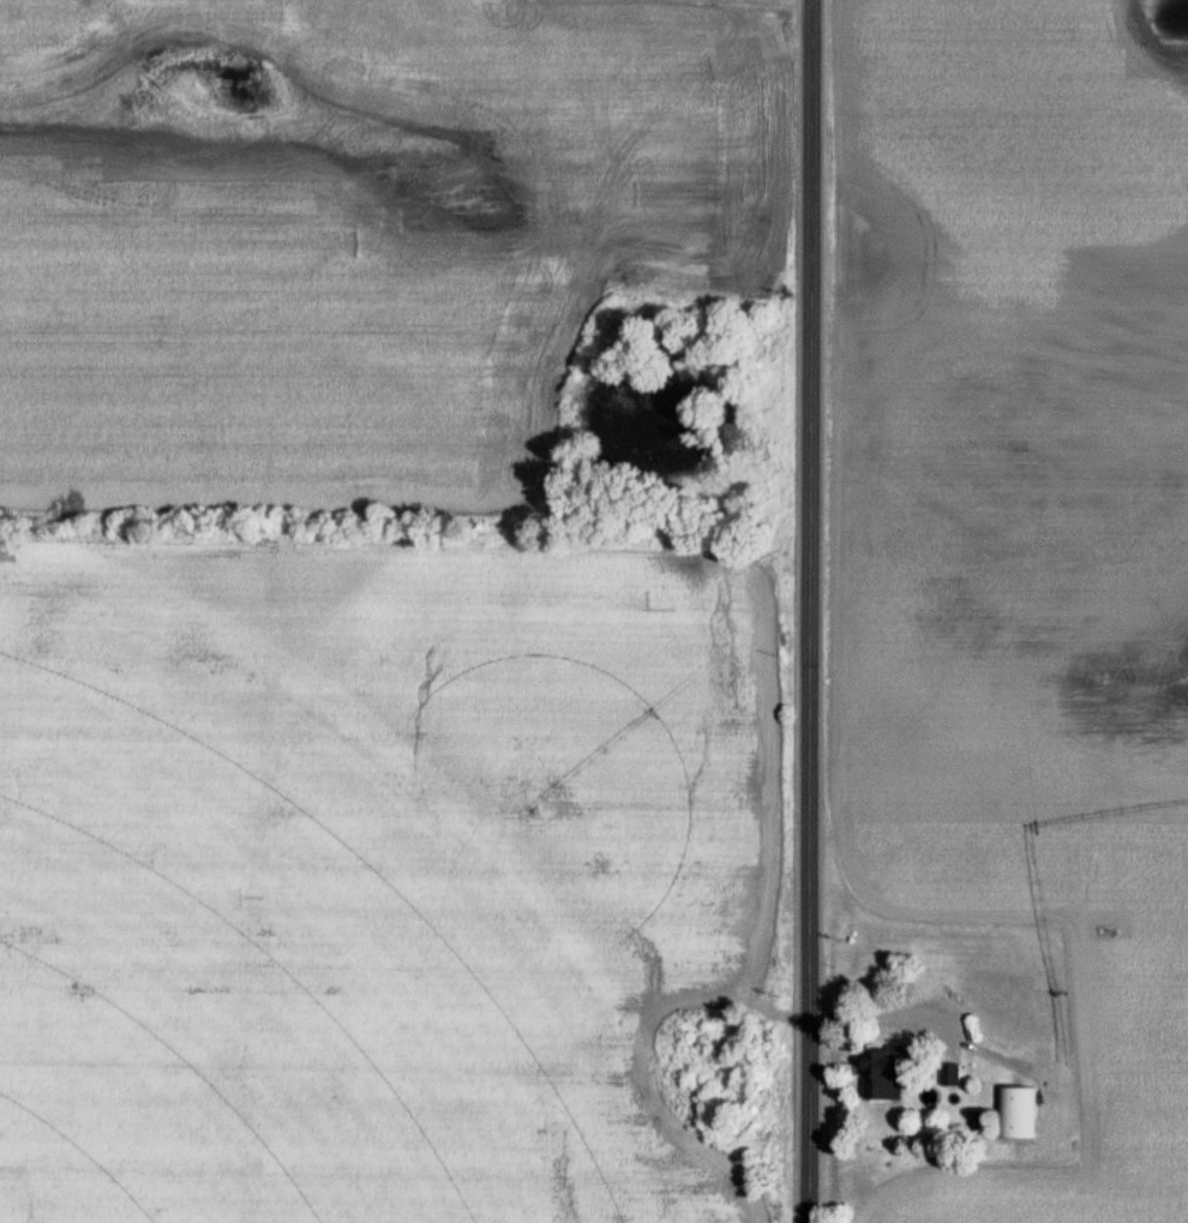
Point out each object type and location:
road: (809, 611)
road: (906, 1024)
building: (876, 1065)
building: (947, 1077)
building: (1013, 1113)

